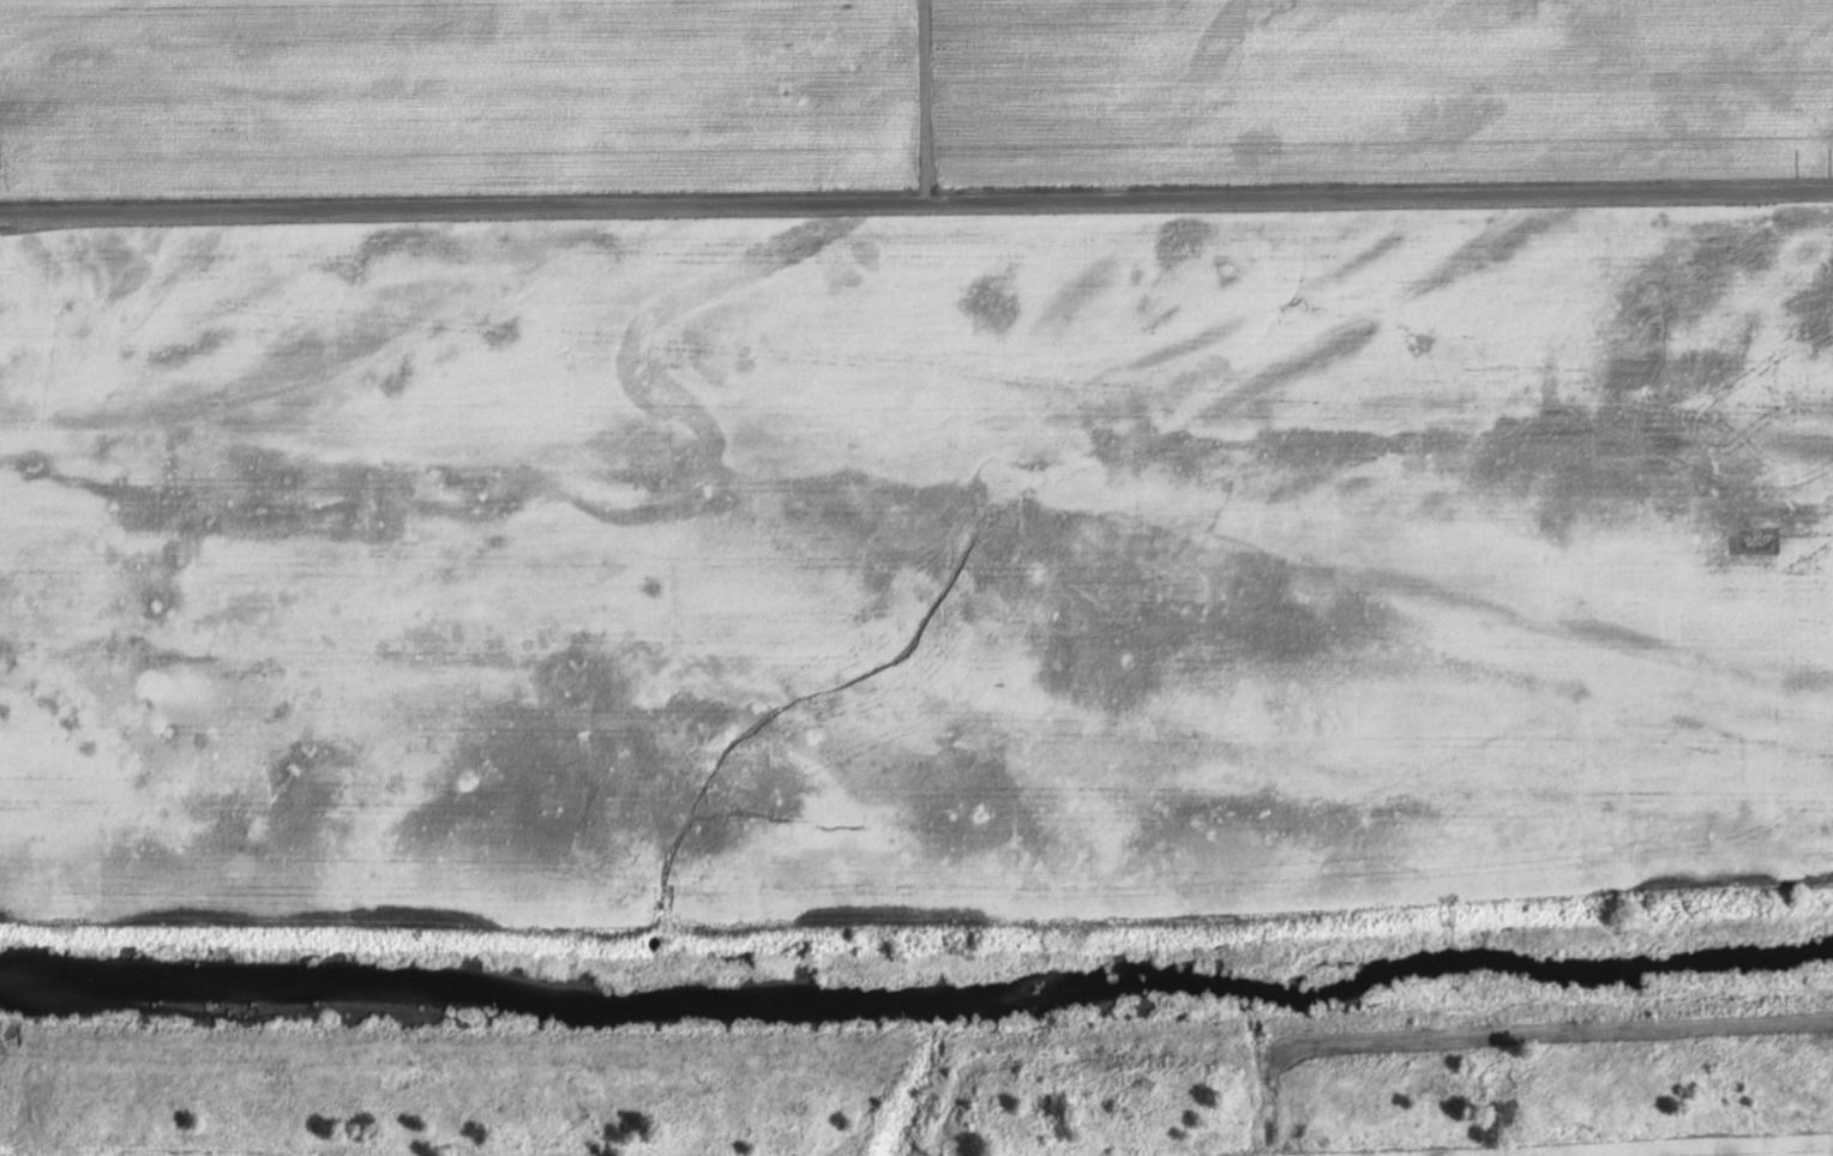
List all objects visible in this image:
road: (915, 204)

